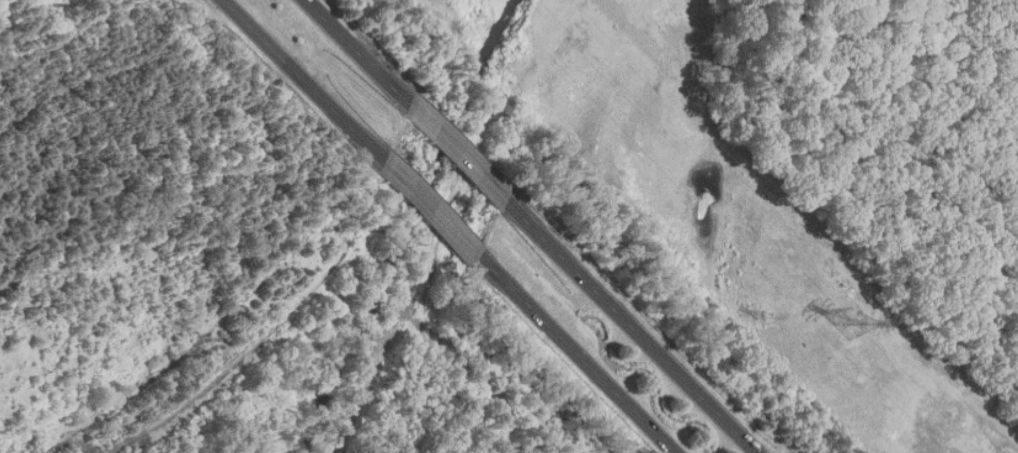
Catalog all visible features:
road: (358, 52)
road: (304, 81)
road: (459, 154)
road: (433, 211)
park: (151, 249)
power tower: (764, 319)
power tower: (849, 324)
road: (632, 328)
road: (577, 356)

